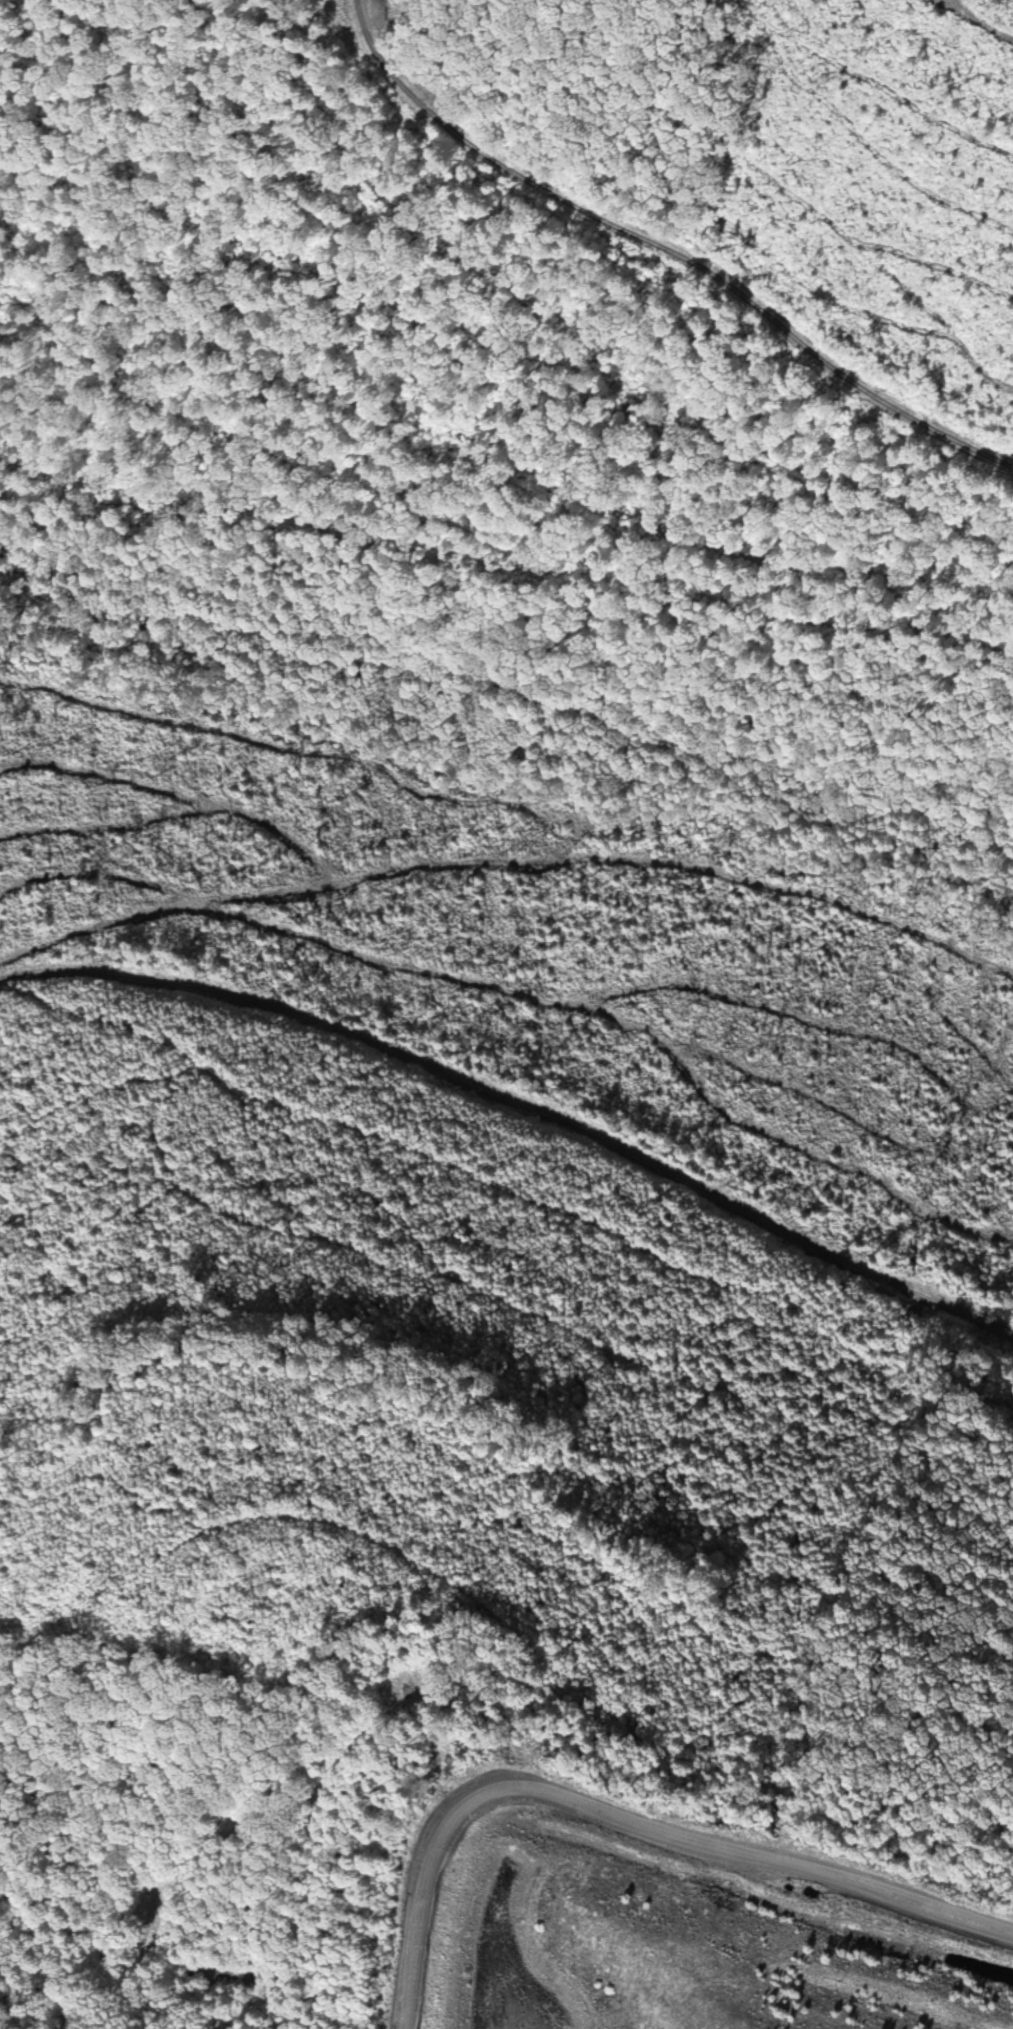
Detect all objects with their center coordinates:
road: (618, 1829)

